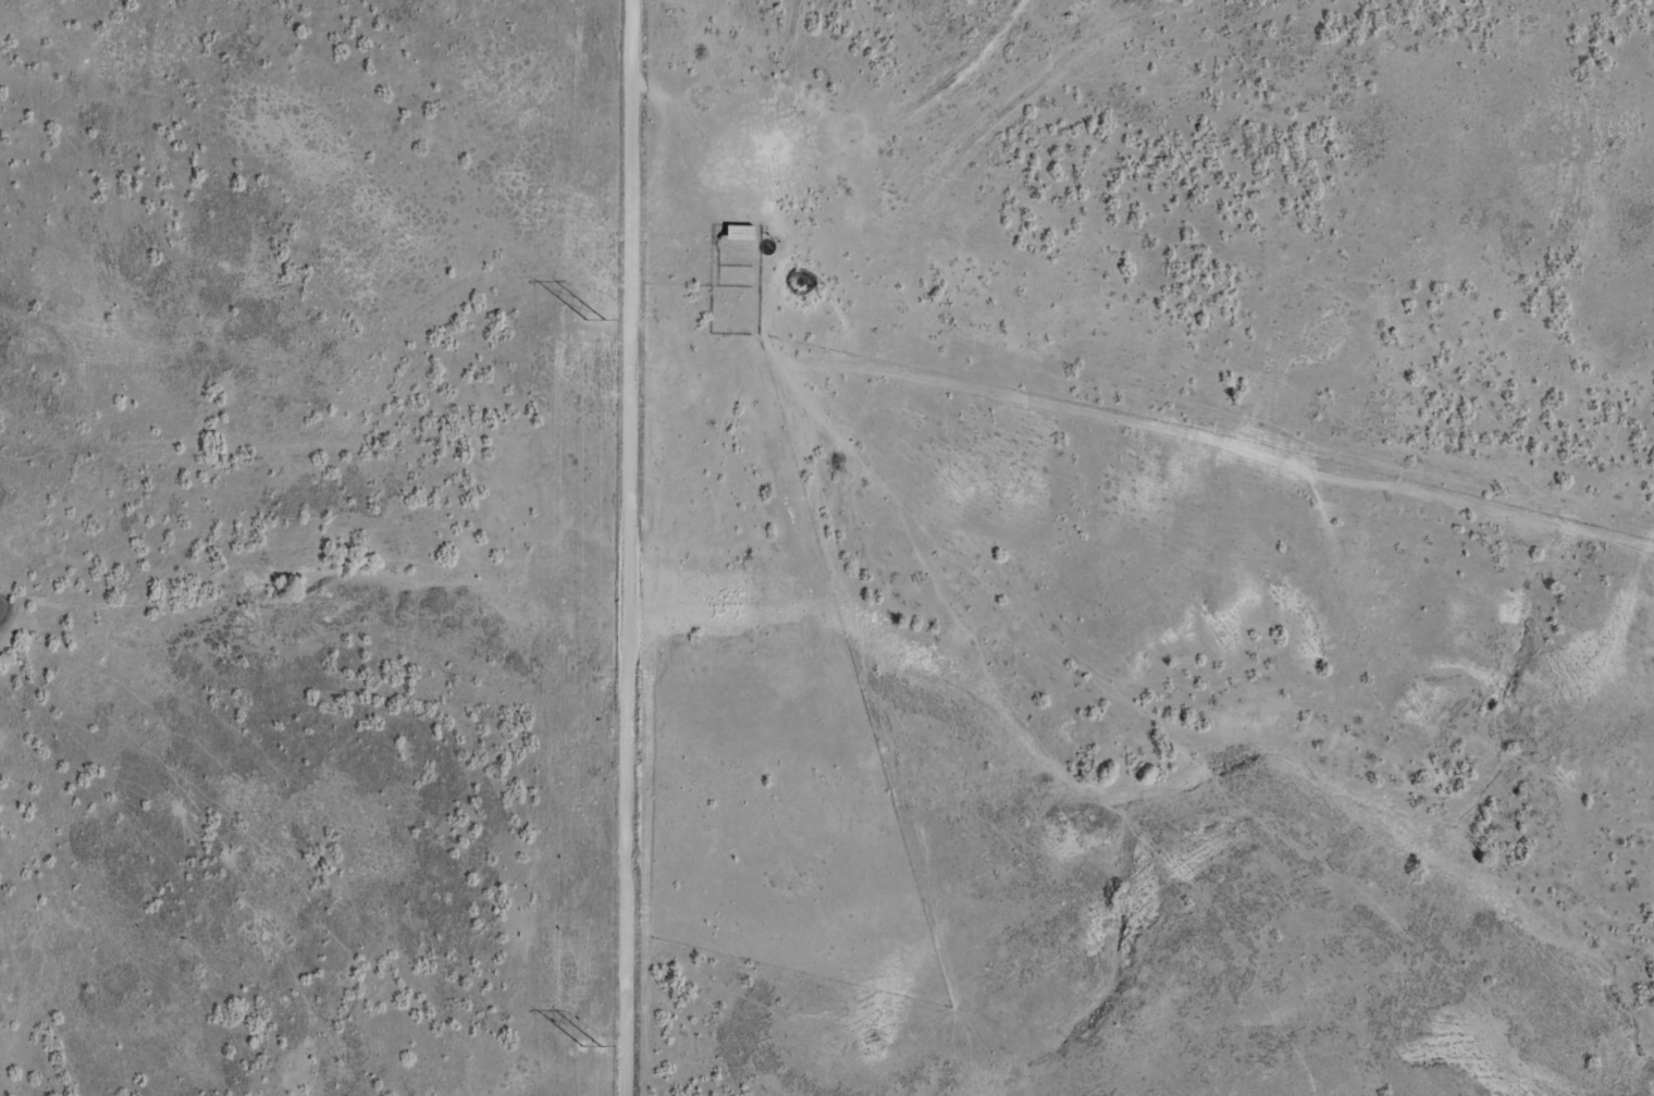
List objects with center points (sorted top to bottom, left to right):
building: (743, 230)
power tower: (597, 325)
road: (635, 547)
power tower: (594, 1047)

